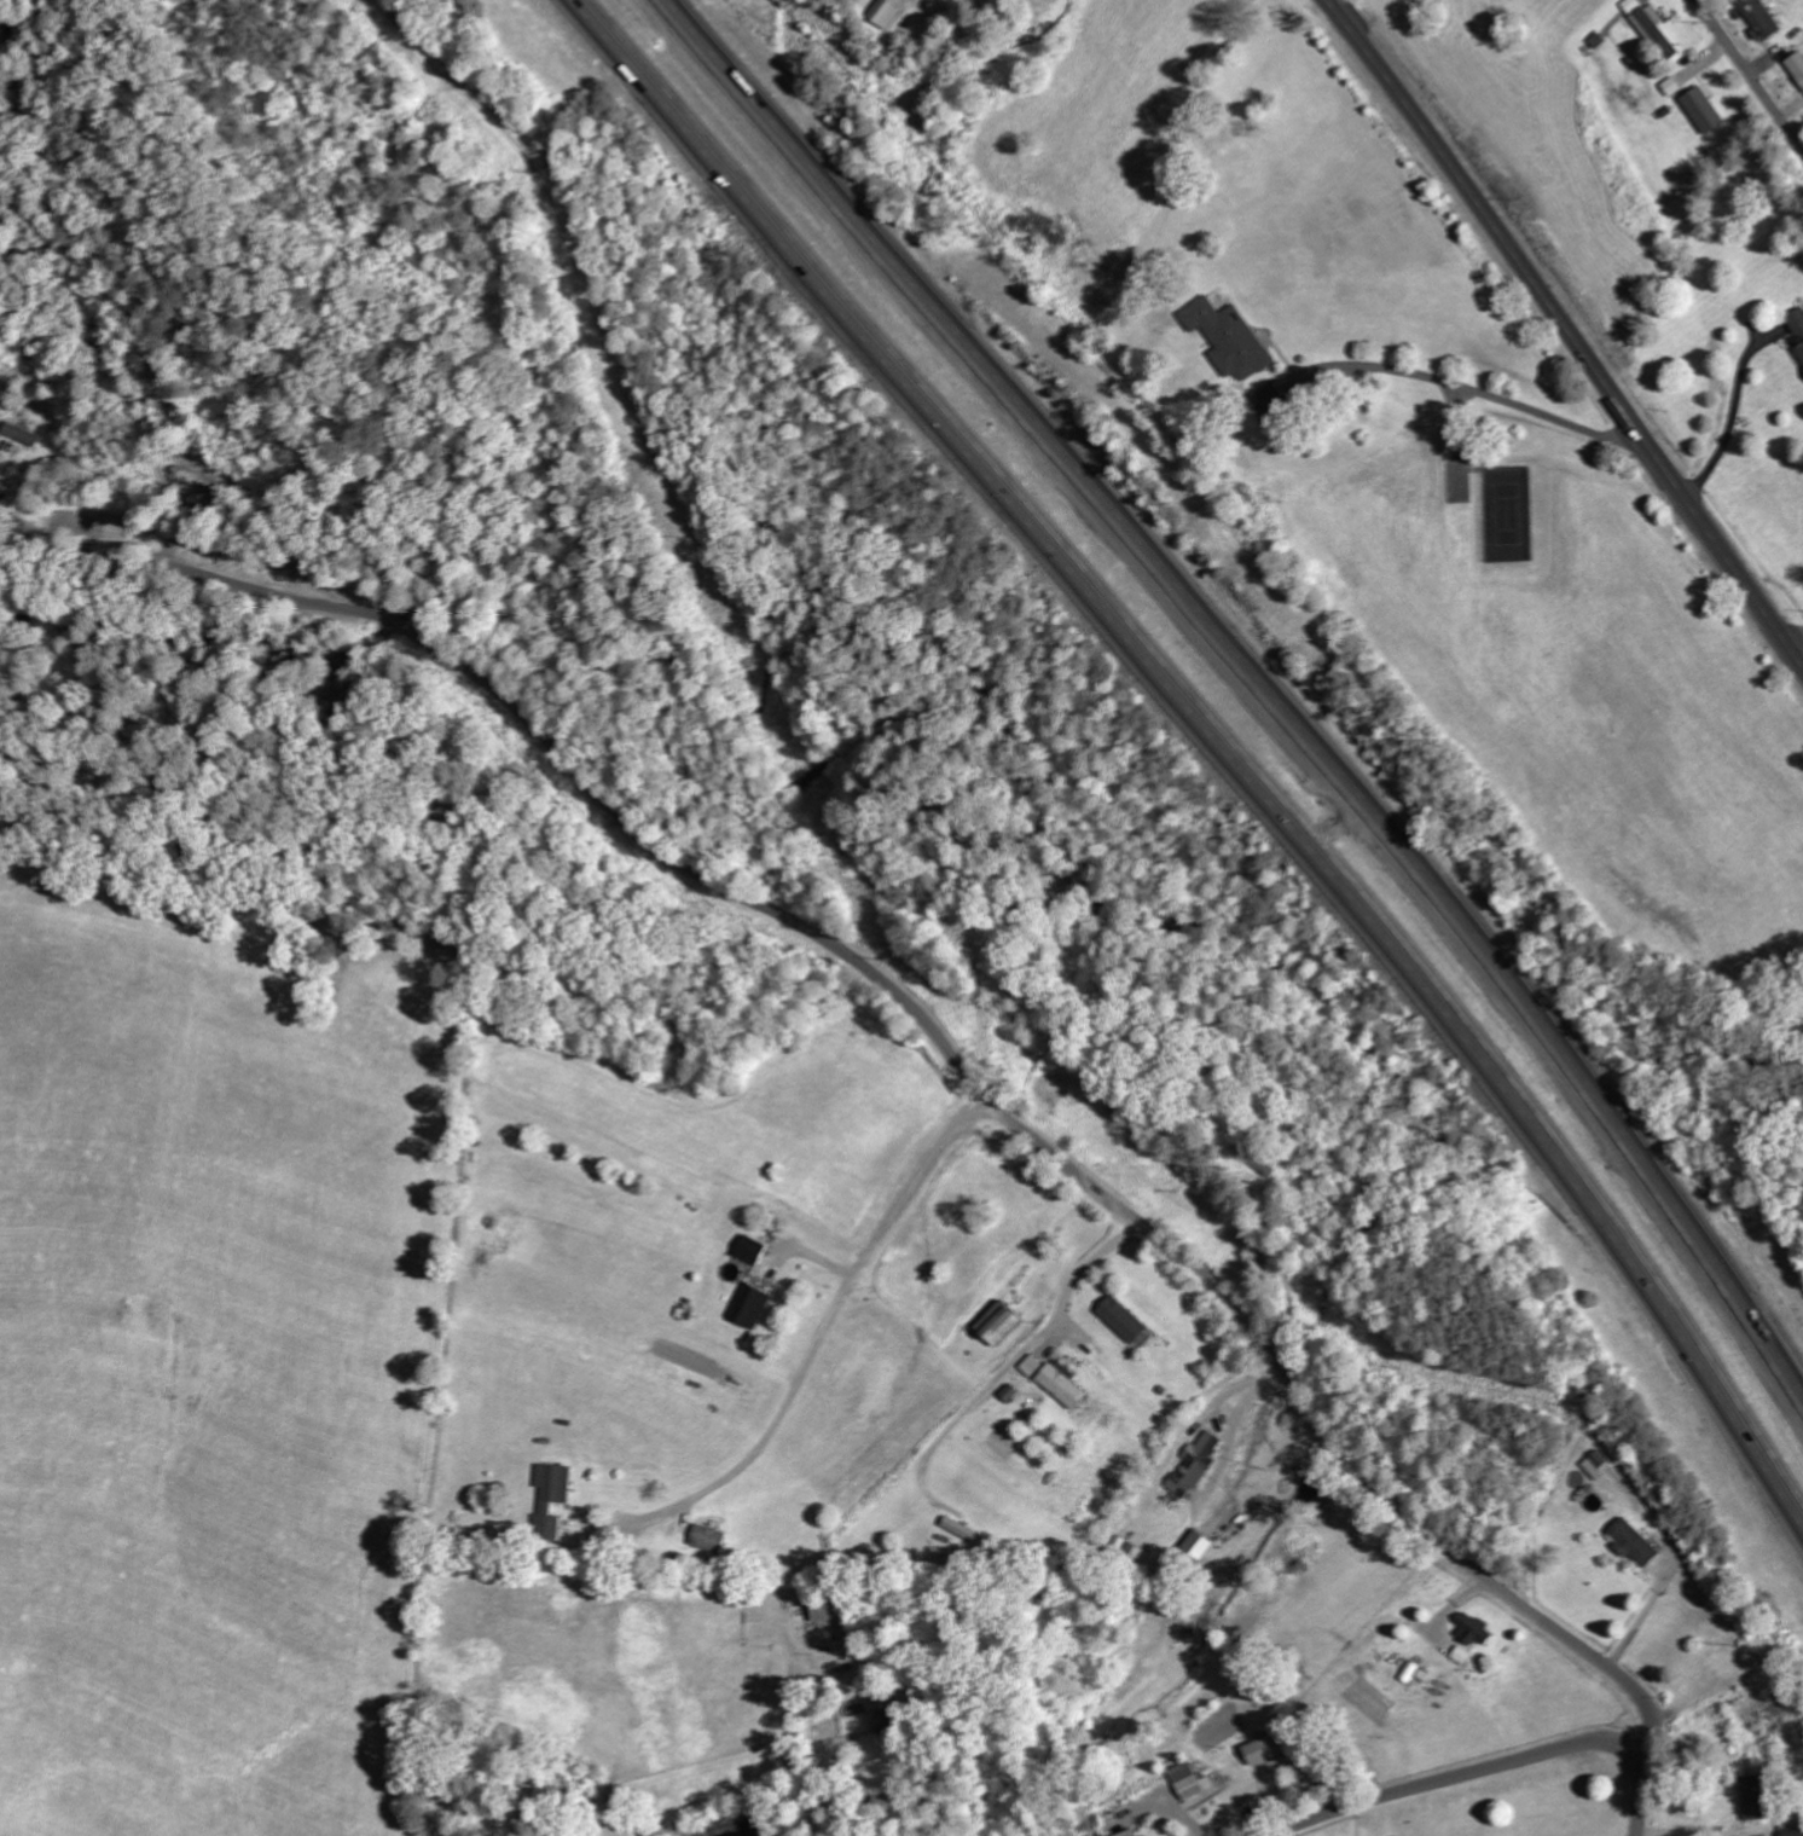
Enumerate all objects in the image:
building: (886, 13)
building: (1762, 17)
building: (1653, 29)
building: (1797, 65)
road: (1750, 71)
building: (1704, 110)
road: (1567, 329)
building: (1229, 338)
building: (22, 434)
road: (1797, 641)
road: (1253, 684)
road: (1223, 731)
road: (917, 1006)
building: (750, 1249)
building: (749, 1305)
building: (1124, 1319)
building: (999, 1322)
road: (818, 1345)
building: (1033, 1365)
building: (1063, 1383)
building: (1596, 1463)
building: (1194, 1465)
building: (550, 1498)
building: (706, 1537)
building: (1634, 1542)
building: (827, 1610)
building: (1476, 1631)
building: (1463, 1655)
building: (1264, 1749)
road: (1460, 1776)
building: (1190, 1780)
road: (1645, 1791)
building: (1755, 1797)
building: (1791, 1831)
building: (1129, 1832)

